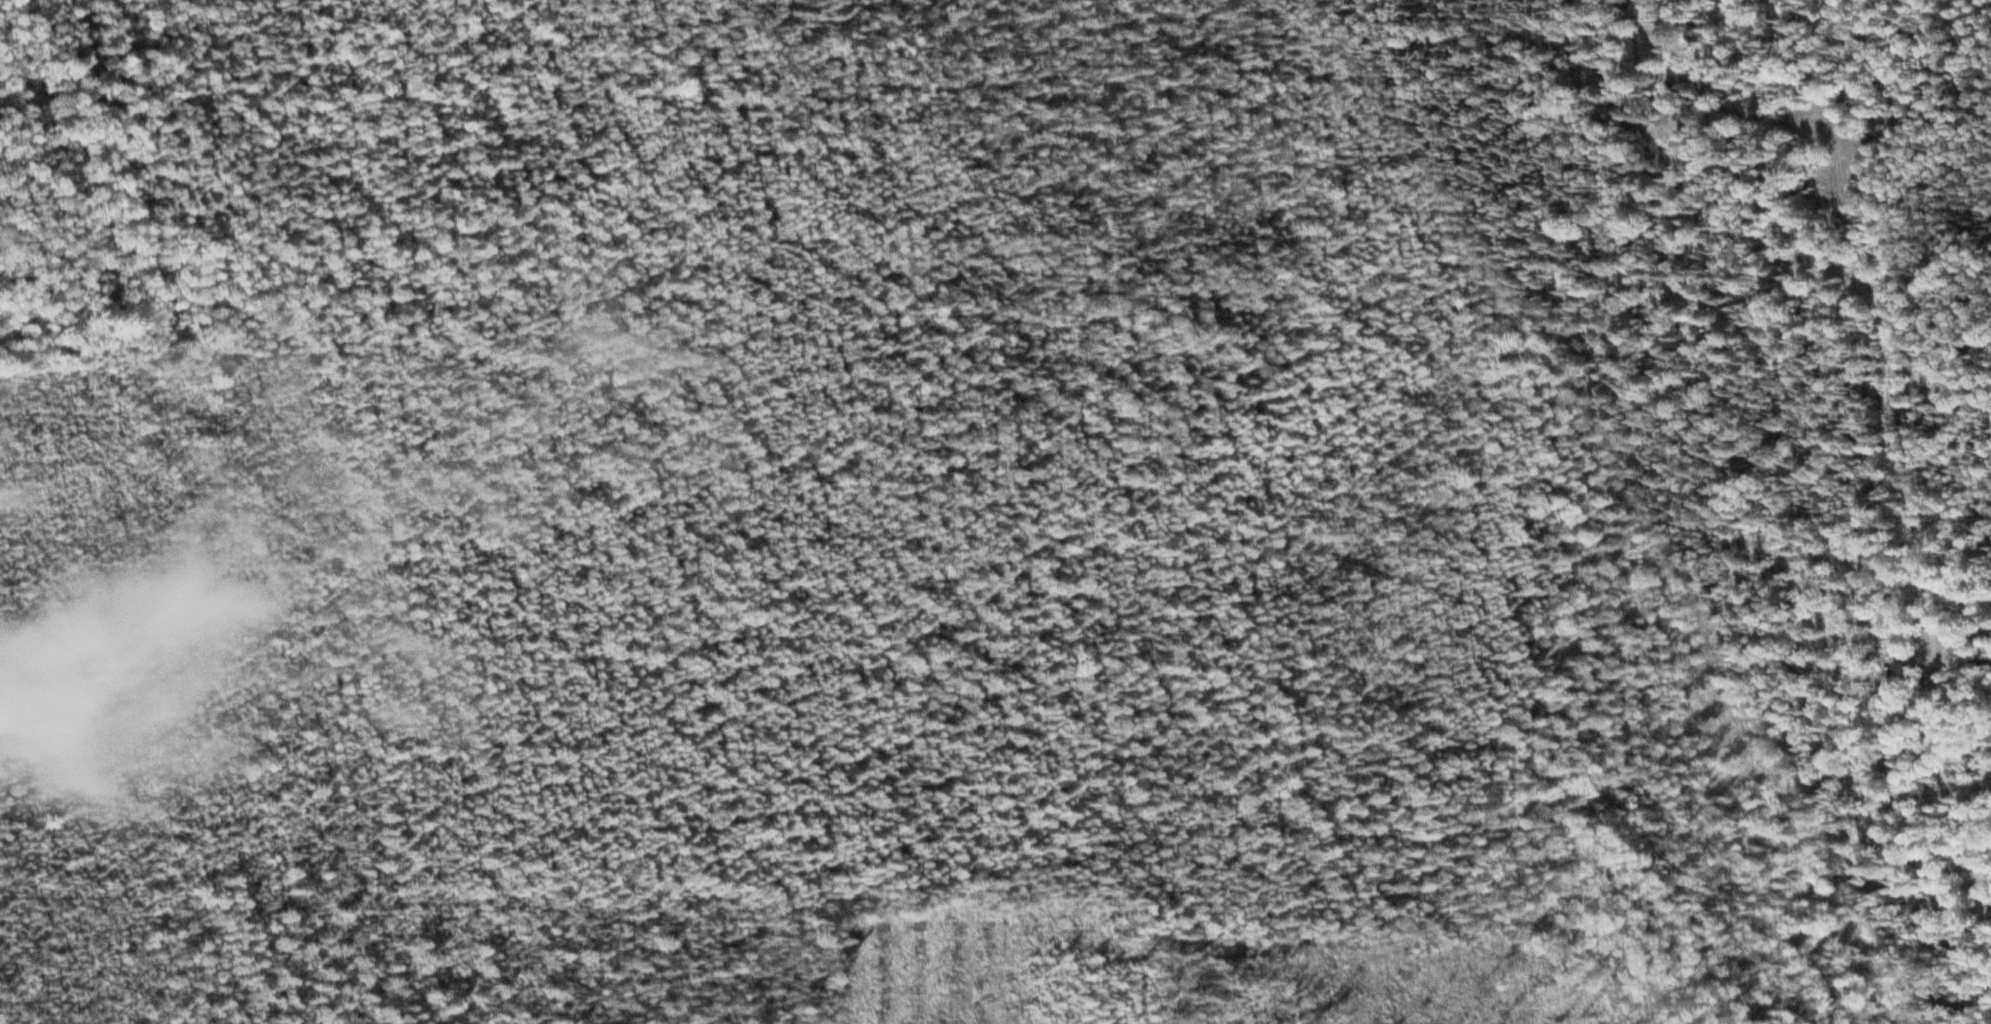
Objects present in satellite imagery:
road: (1916, 438)
building: (1915, 679)

